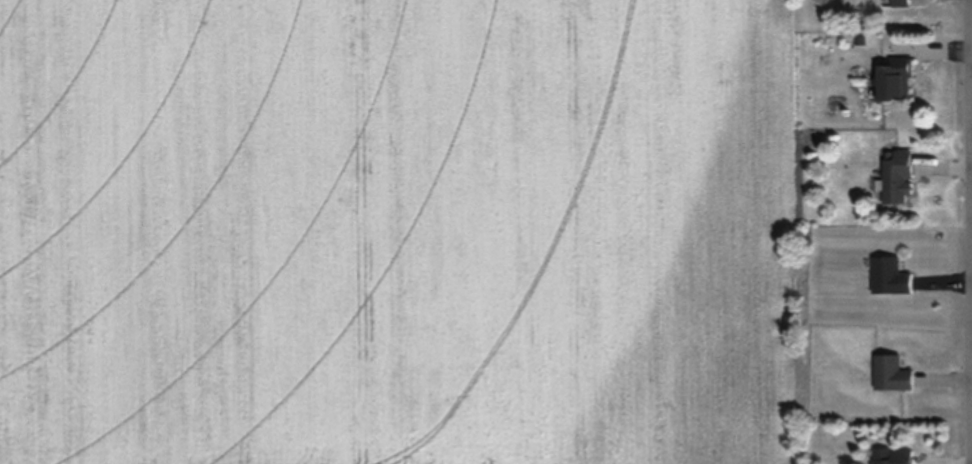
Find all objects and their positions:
building: (899, 3)
road: (971, 27)
building: (894, 80)
building: (896, 176)
building: (890, 276)
building: (892, 374)
building: (893, 456)

